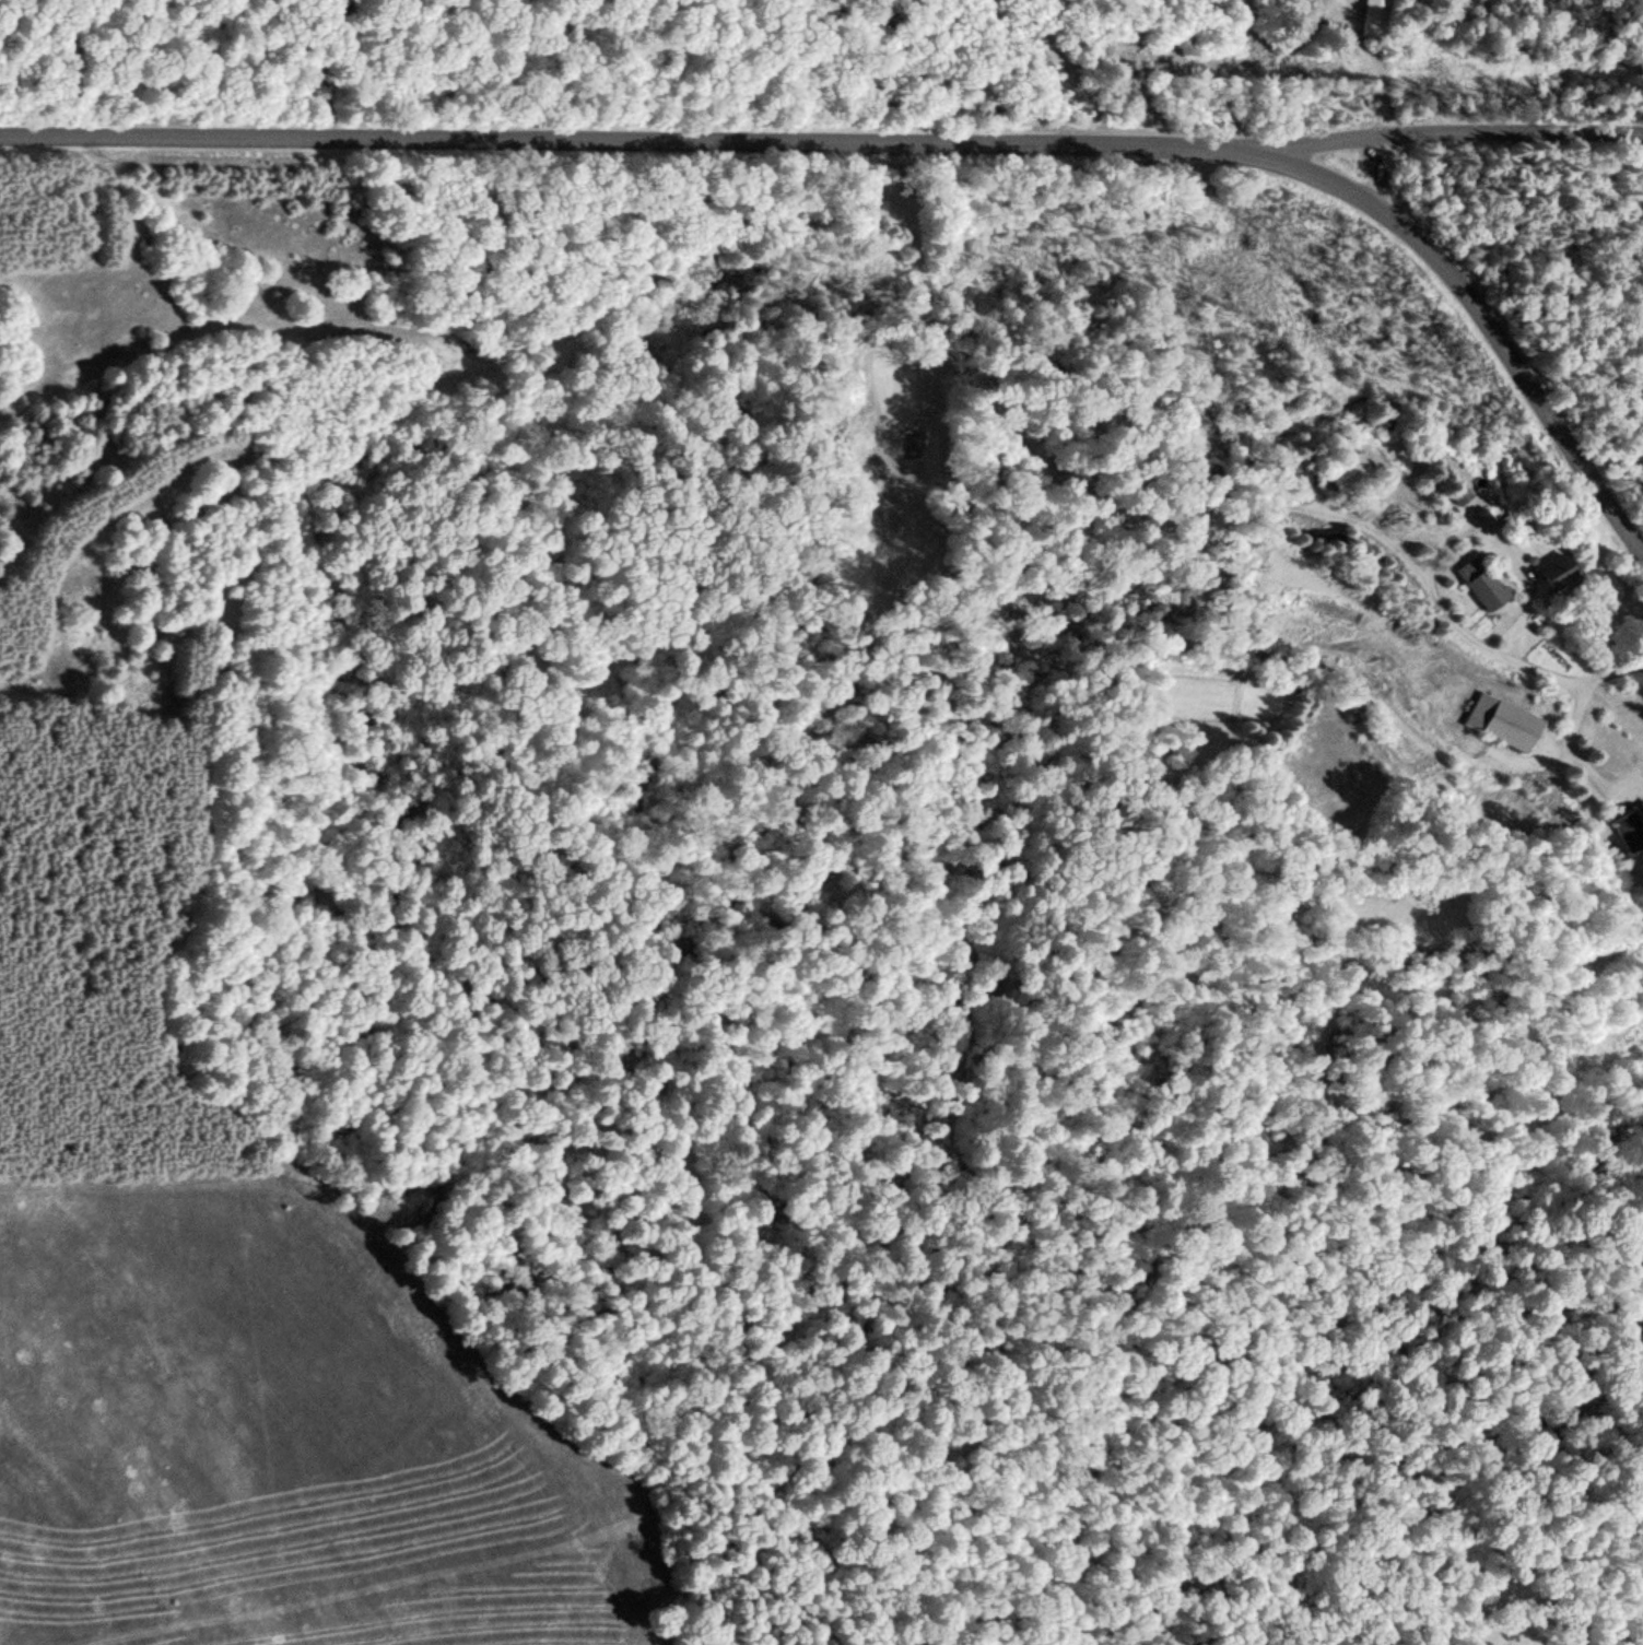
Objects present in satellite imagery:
building: (1464, 4)
building: (1373, 19)
road: (1440, 136)
road: (918, 138)
building: (1347, 474)
building: (1300, 478)
building: (1457, 494)
building: (1336, 540)
building: (1554, 571)
building: (1482, 588)
building: (1502, 722)
building: (1628, 832)

